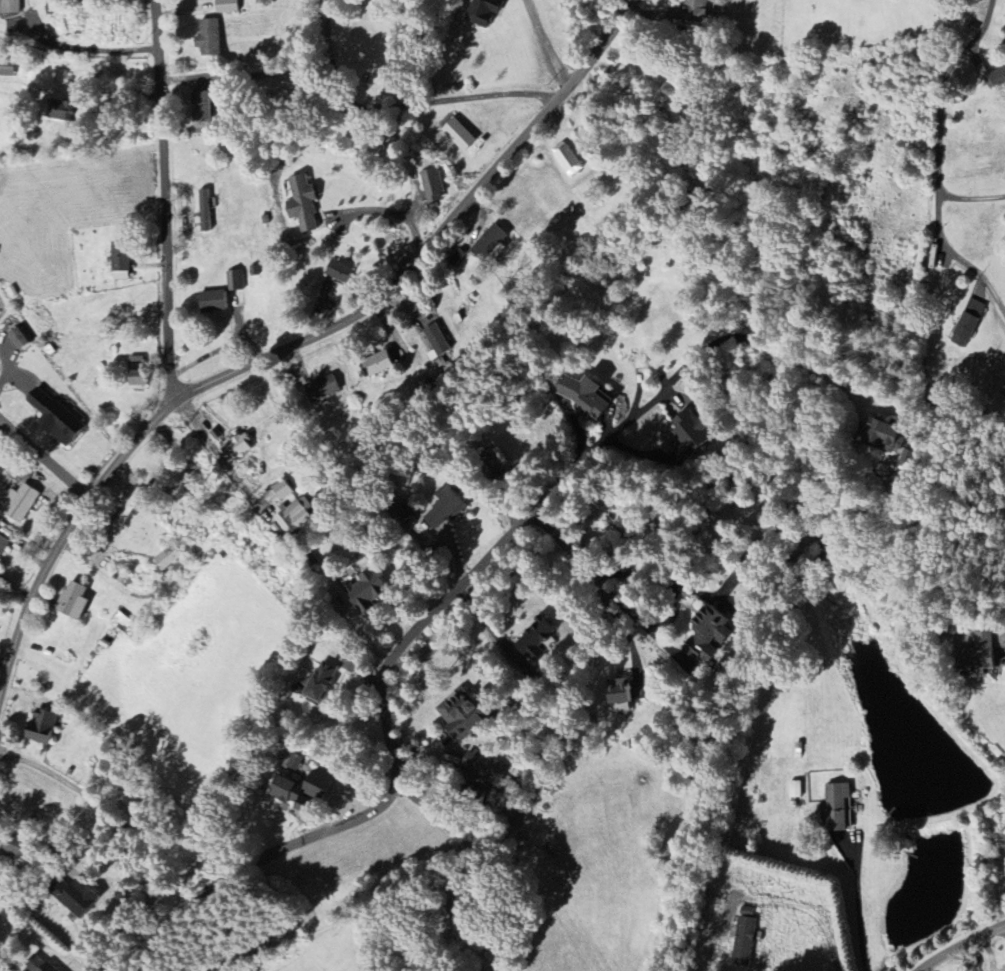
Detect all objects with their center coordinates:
building: (226, 5)
building: (10, 6)
building: (695, 10)
building: (482, 11)
building: (207, 37)
road: (546, 43)
road: (85, 49)
building: (6, 67)
road: (401, 104)
building: (200, 107)
building: (61, 110)
building: (459, 134)
building: (567, 158)
road: (937, 161)
building: (432, 185)
road: (970, 199)
road: (164, 201)
building: (301, 203)
building: (205, 210)
building: (489, 243)
building: (457, 257)
building: (119, 263)
building: (338, 269)
building: (235, 279)
building: (211, 300)
building: (967, 323)
building: (18, 337)
building: (436, 339)
road: (297, 342)
road: (763, 342)
building: (374, 364)
building: (135, 370)
building: (320, 388)
building: (583, 396)
building: (53, 417)
building: (688, 434)
building: (881, 436)
road: (213, 447)
building: (236, 447)
road: (44, 458)
building: (488, 466)
building: (281, 489)
building: (19, 503)
building: (401, 511)
building: (443, 511)
building: (294, 514)
building: (122, 517)
road: (563, 543)
building: (3, 544)
building: (168, 557)
building: (363, 591)
building: (72, 600)
road: (673, 611)
road: (618, 620)
building: (703, 634)
building: (533, 639)
road: (1004, 639)
building: (977, 656)
building: (318, 681)
building: (618, 691)
road: (383, 692)
building: (459, 714)
building: (40, 727)
building: (294, 762)
building: (486, 767)
road: (79, 786)
building: (298, 788)
building: (795, 789)
building: (473, 794)
building: (836, 806)
road: (450, 830)
building: (15, 846)
building: (2, 888)
building: (72, 895)
road: (857, 906)
road: (811, 911)
building: (743, 941)
road: (961, 944)
building: (39, 964)

